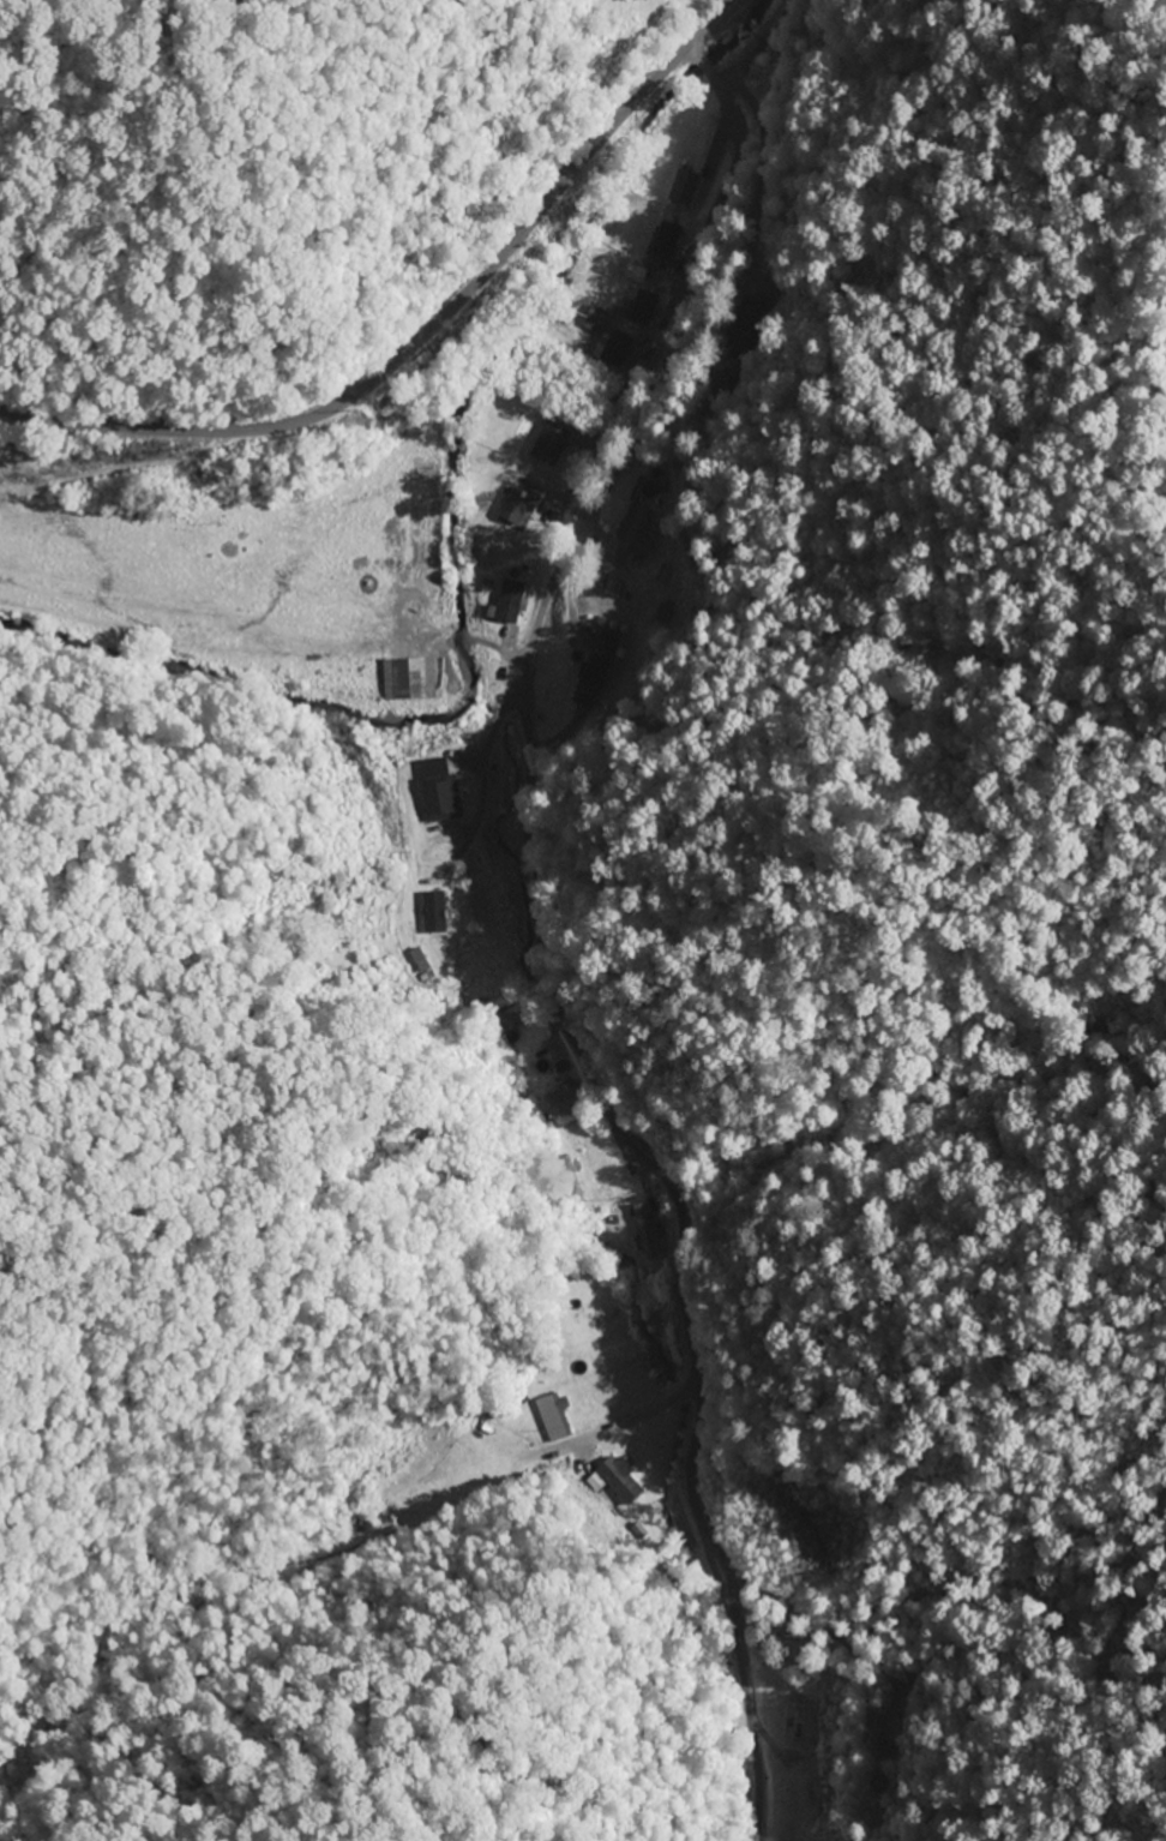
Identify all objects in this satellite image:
building: (681, 188)
building: (665, 240)
building: (641, 310)
building: (591, 316)
road: (427, 331)
building: (614, 352)
building: (547, 445)
building: (515, 508)
building: (633, 535)
building: (506, 602)
building: (591, 673)
building: (405, 679)
building: (437, 791)
road: (528, 943)
building: (643, 1233)
building: (554, 1417)
building: (617, 1482)

